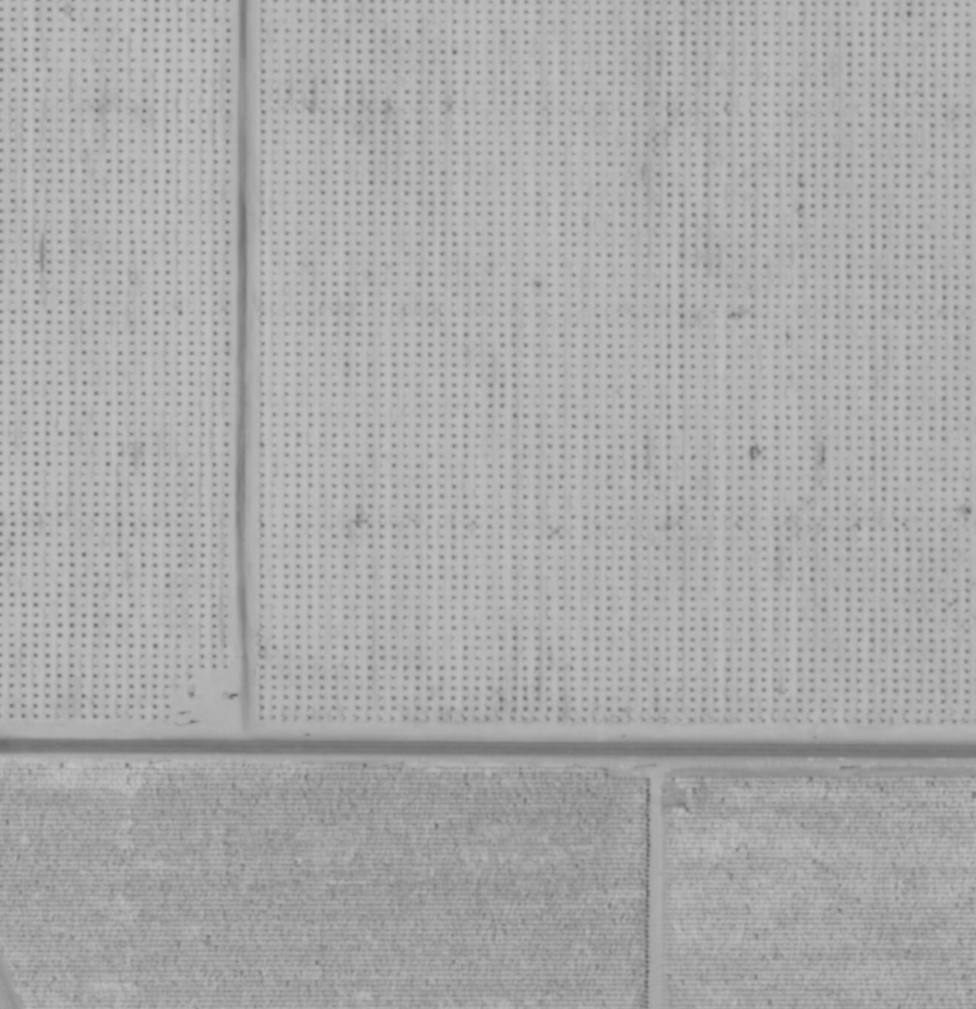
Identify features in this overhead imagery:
road: (234, 374)
road: (487, 749)
road: (643, 880)
crop: (318, 888)
crop: (816, 891)

